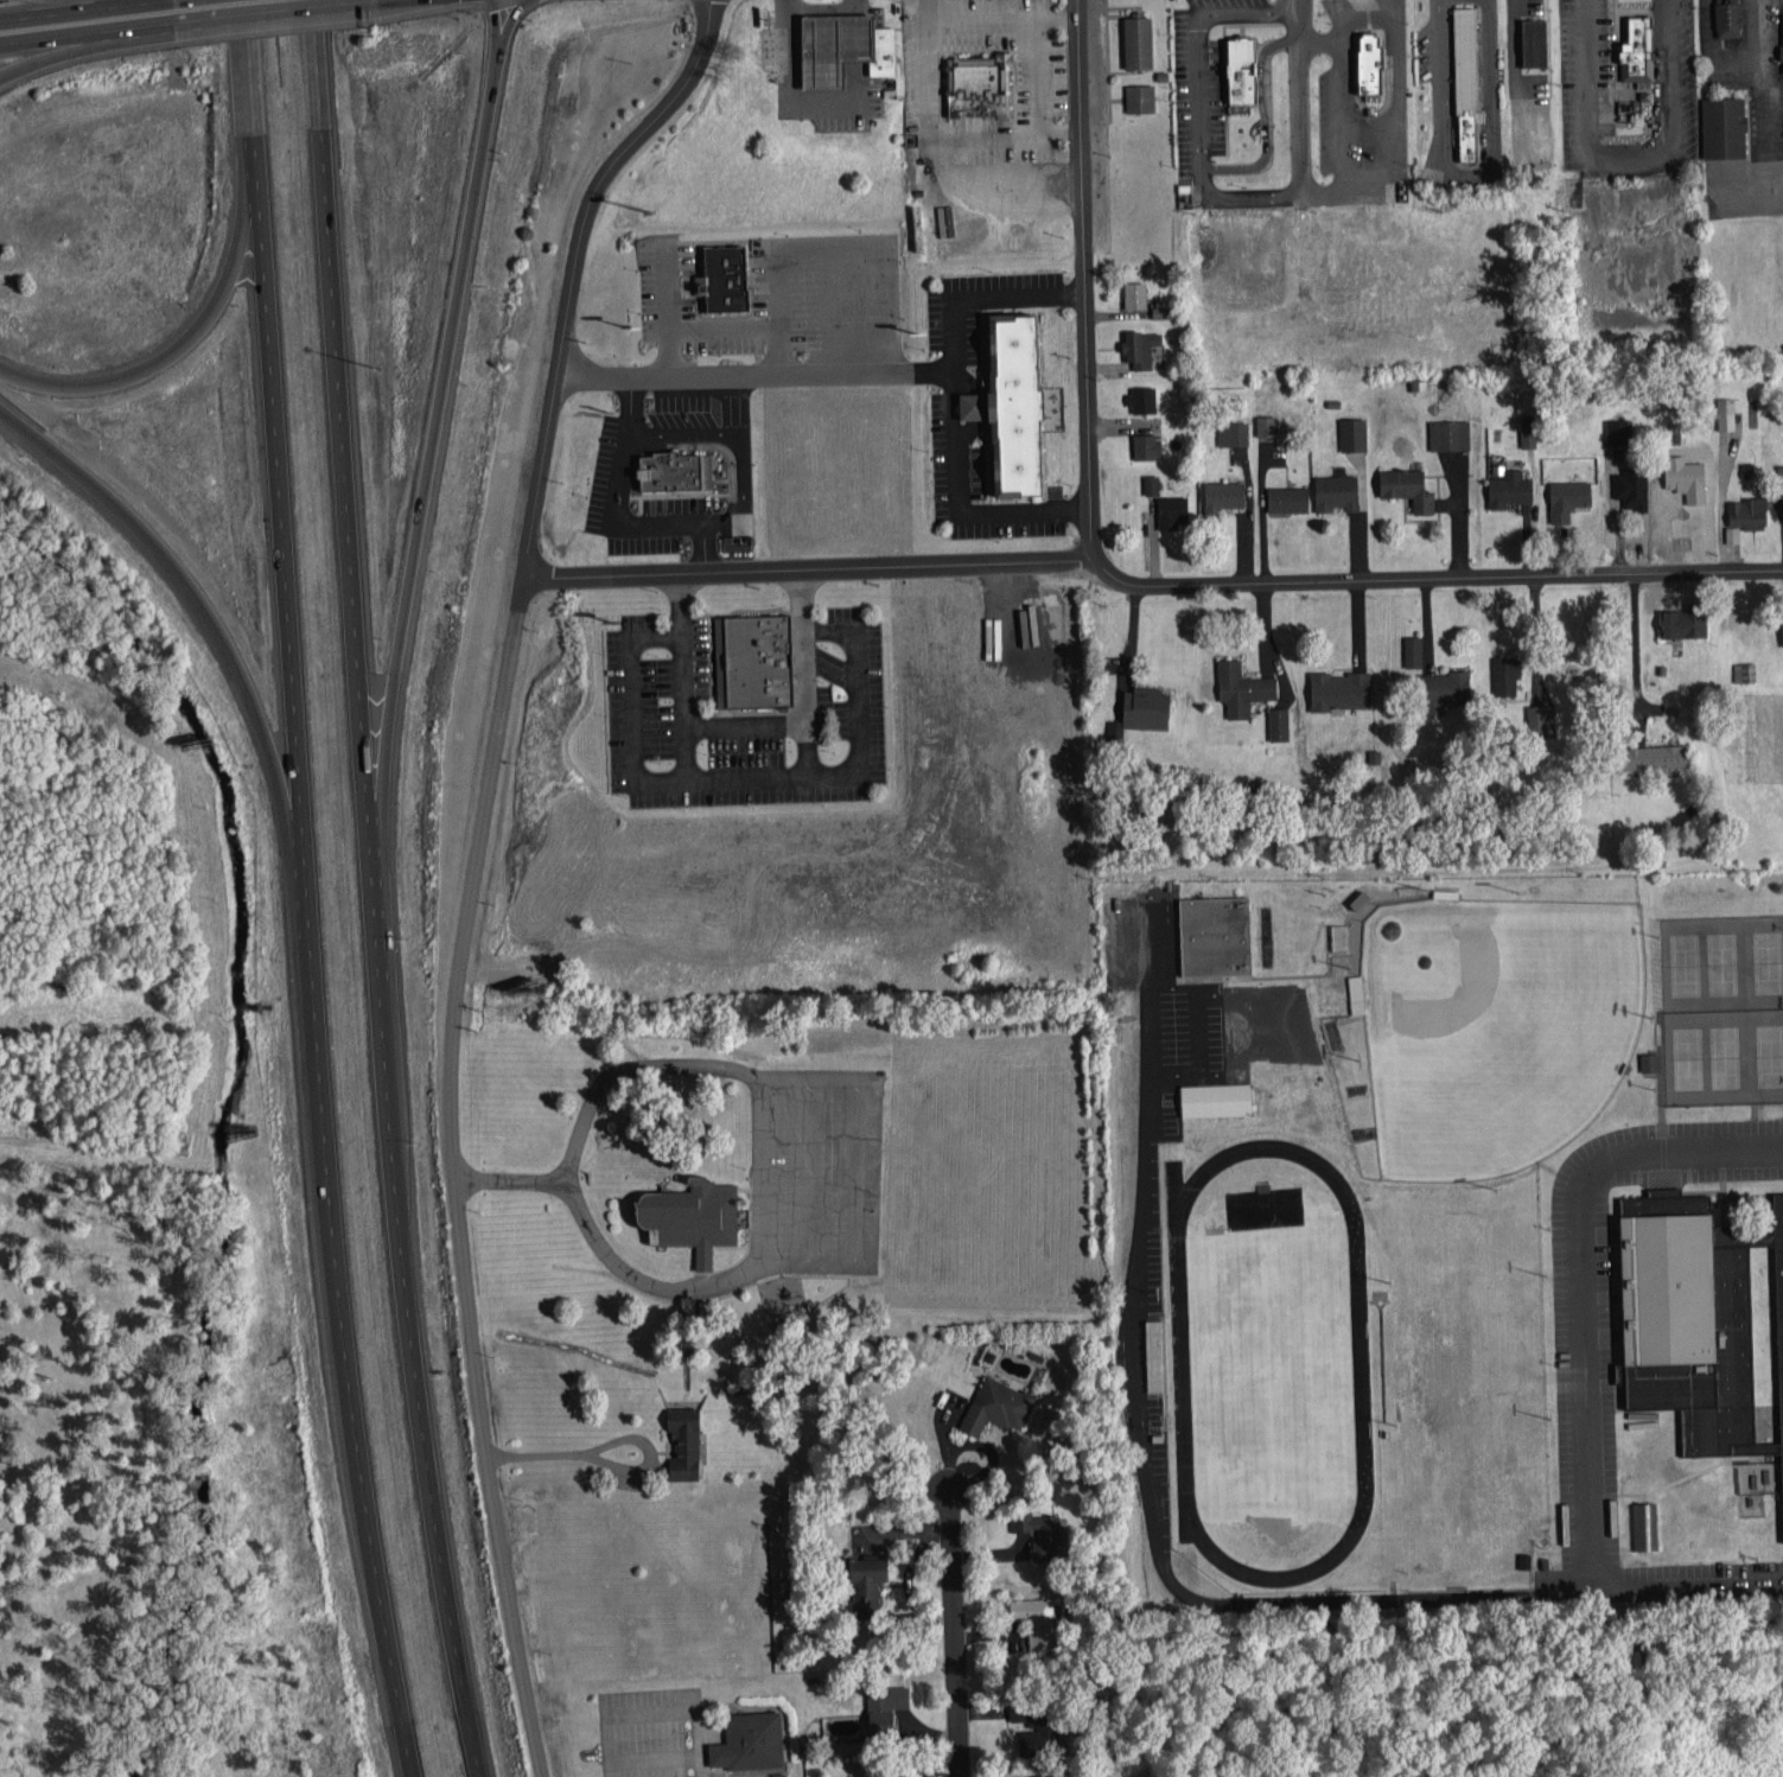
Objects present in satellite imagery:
road: (136, 1)
road: (154, 1)
road: (387, 1)
road: (858, 7)
road: (1359, 9)
road: (72, 11)
road: (1313, 11)
road: (929, 12)
road: (275, 13)
building: (1728, 18)
road: (89, 34)
road: (858, 39)
building: (1139, 40)
road: (1197, 42)
building: (1534, 42)
road: (497, 49)
building: (829, 49)
gas station: (829, 49)
building: (1636, 49)
road: (75, 51)
building: (880, 52)
parking lot: (1205, 69)
building: (1361, 69)
building: (1241, 77)
building: (1464, 88)
parking lot: (1486, 88)
building: (978, 89)
parking lot: (1038, 89)
parking lot: (1628, 90)
building: (1140, 96)
road: (1389, 97)
road: (1335, 100)
road: (791, 101)
road: (1263, 120)
building: (1725, 126)
road: (1042, 140)
road: (1299, 154)
road: (1626, 155)
road: (1466, 174)
road: (1314, 189)
road: (1089, 267)
building: (725, 279)
building: (1135, 293)
parking lot: (775, 299)
road: (186, 340)
building: (1140, 345)
road: (752, 372)
building: (1141, 396)
road: (950, 407)
parking lot: (944, 410)
building: (1008, 410)
building: (1267, 423)
building: (1529, 428)
building: (1619, 428)
road: (681, 431)
building: (1233, 431)
building: (1354, 432)
building: (1450, 432)
road: (713, 442)
building: (1147, 444)
road: (429, 457)
building: (1779, 472)
parking lot: (619, 473)
building: (679, 473)
building: (1151, 482)
building: (1407, 485)
building: (1510, 486)
building: (1336, 490)
building: (1223, 493)
building: (1288, 496)
building: (1567, 497)
building: (1172, 509)
building: (1750, 509)
road: (681, 523)
building: (1732, 531)
road: (1093, 546)
road: (702, 547)
road: (809, 568)
road: (1434, 578)
road: (189, 581)
building: (1683, 620)
building: (1413, 649)
parking lot: (664, 664)
building: (753, 664)
building: (1745, 669)
building: (1507, 671)
building: (1240, 684)
building: (1450, 686)
building: (1338, 688)
road: (858, 698)
building: (1146, 705)
road: (632, 708)
building: (1541, 718)
building: (1279, 721)
building: (1114, 727)
building: (1656, 753)
road: (745, 776)
road: (476, 867)
road: (378, 890)
road: (298, 891)
building: (1216, 934)
building: (1339, 935)
building: (1356, 992)
park: (1721, 1006)
park: (1490, 1028)
building: (1648, 1059)
building: (1217, 1097)
road: (758, 1158)
parking lot: (820, 1171)
road: (510, 1174)
building: (688, 1221)
road: (1579, 1276)
building: (1694, 1321)
building: (1155, 1354)
track: (1269, 1363)
track: (1359, 1364)
building: (998, 1403)
building: (684, 1441)
road: (610, 1465)
building: (1644, 1523)
building: (1040, 1531)
road: (1683, 1577)
building: (868, 1579)
road: (1253, 1600)
building: (1034, 1619)
road: (951, 1633)
building: (885, 1707)
building: (1018, 1707)
parking lot: (656, 1732)
building: (1039, 1732)
building: (749, 1741)
building: (849, 1775)
building: (865, 1775)
building: (892, 1776)

